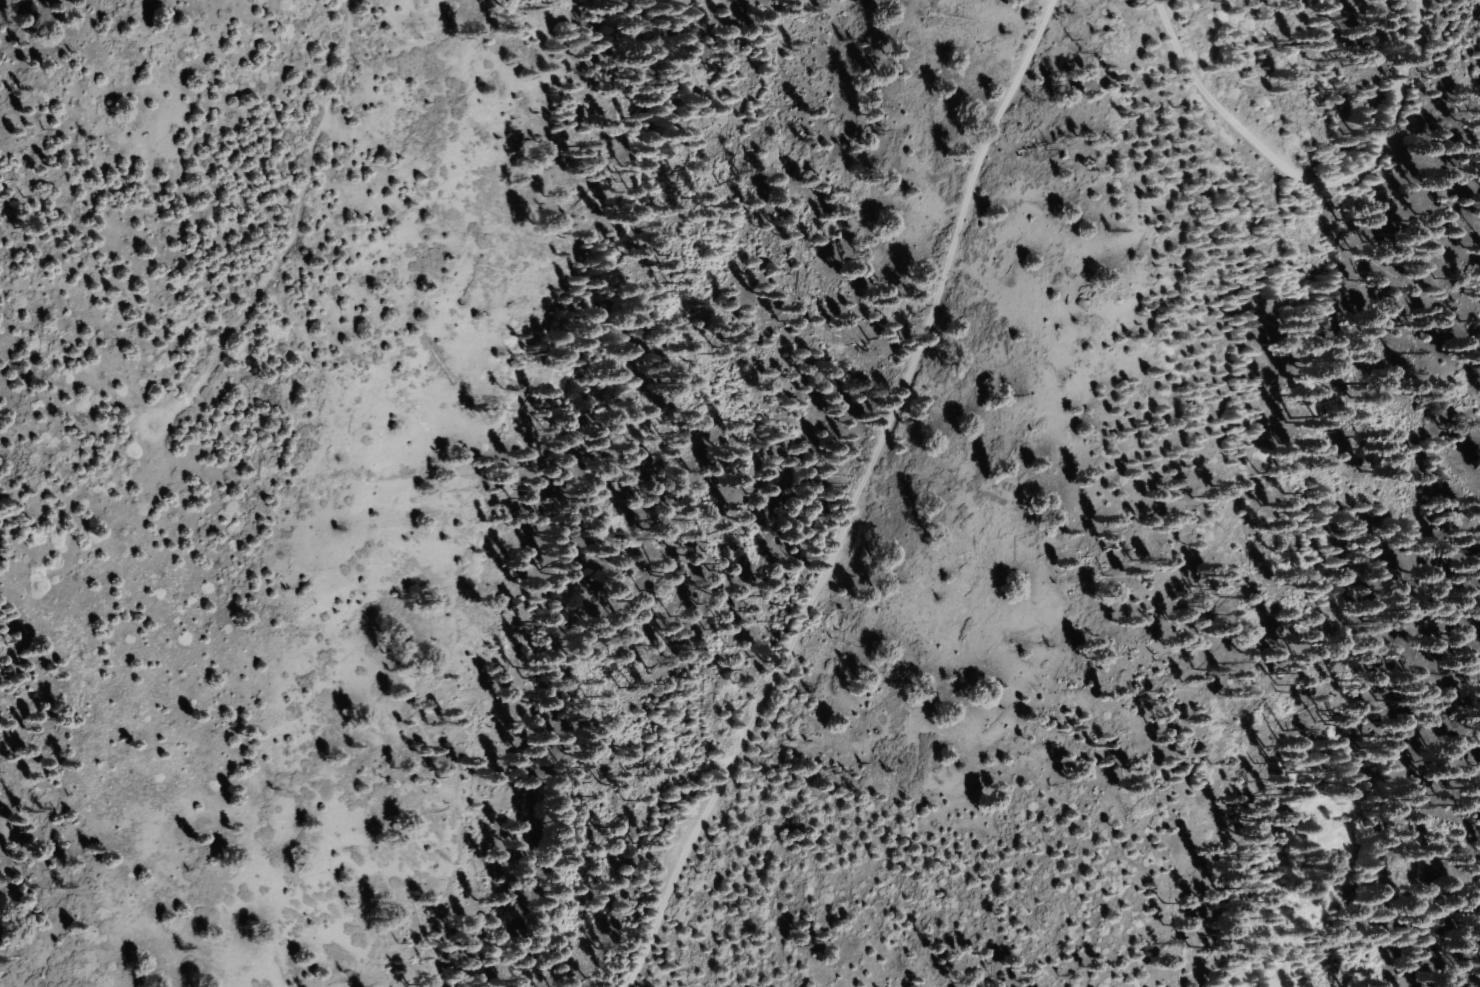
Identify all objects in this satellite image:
road: (1308, 182)
road: (308, 229)
road: (862, 504)

